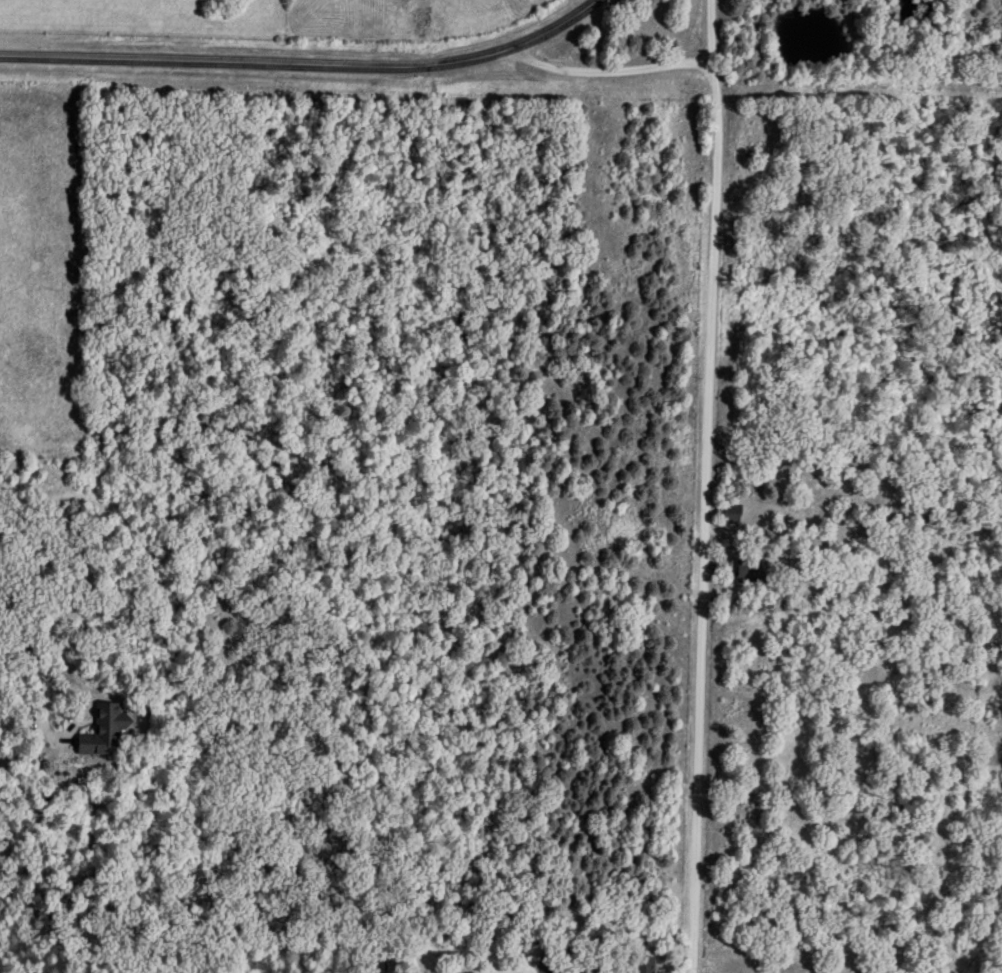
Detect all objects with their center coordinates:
road: (307, 63)
road: (604, 70)
road: (700, 486)
building: (732, 512)
building: (752, 569)
road: (40, 670)
building: (106, 729)
building: (644, 963)

